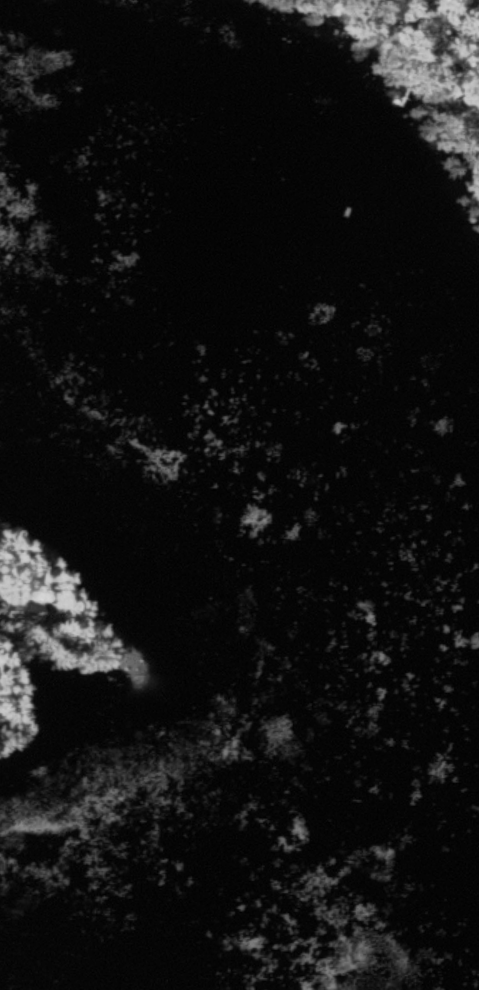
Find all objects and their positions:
building: (23, 611)

